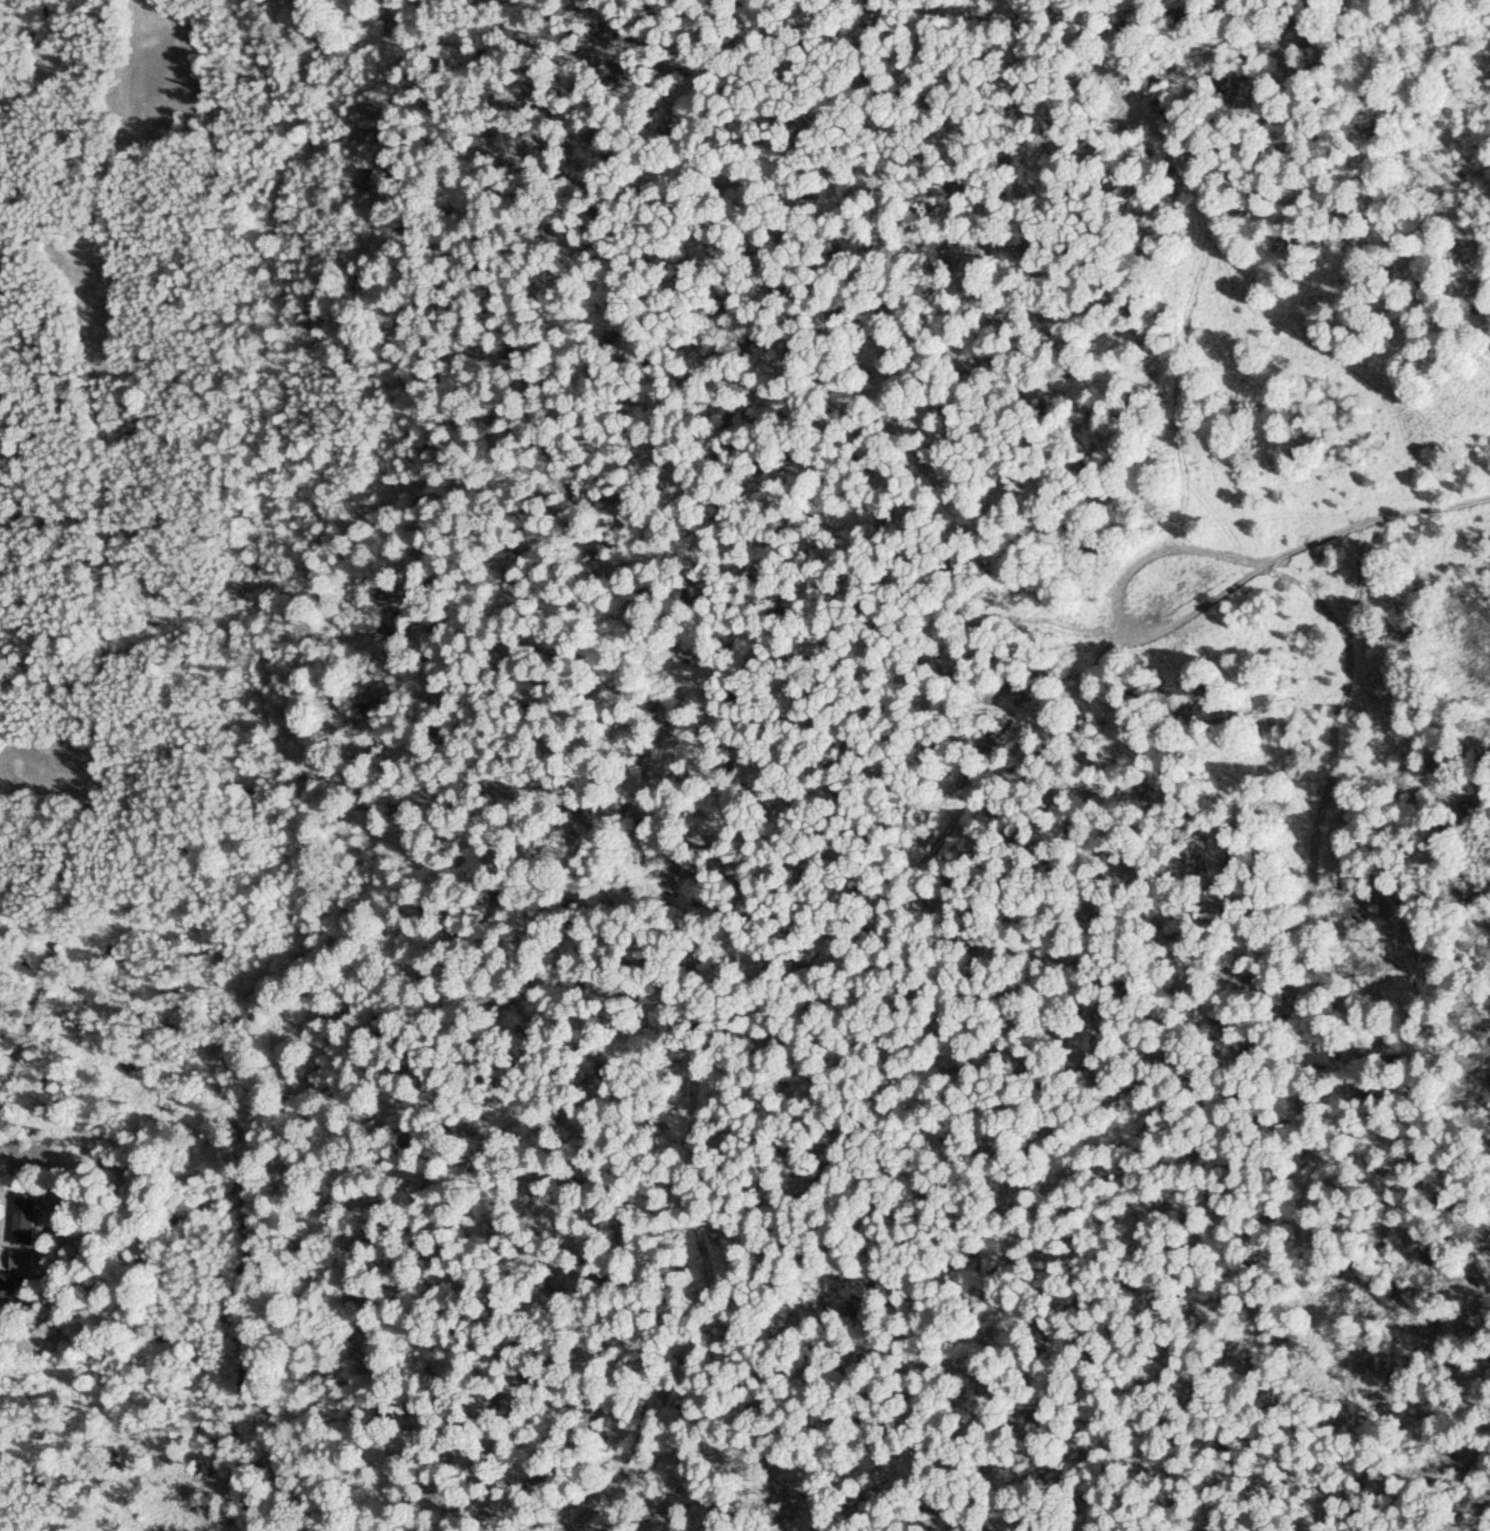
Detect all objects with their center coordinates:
road: (107, 593)
road: (1148, 633)
building: (26, 1219)
building: (7, 1284)

